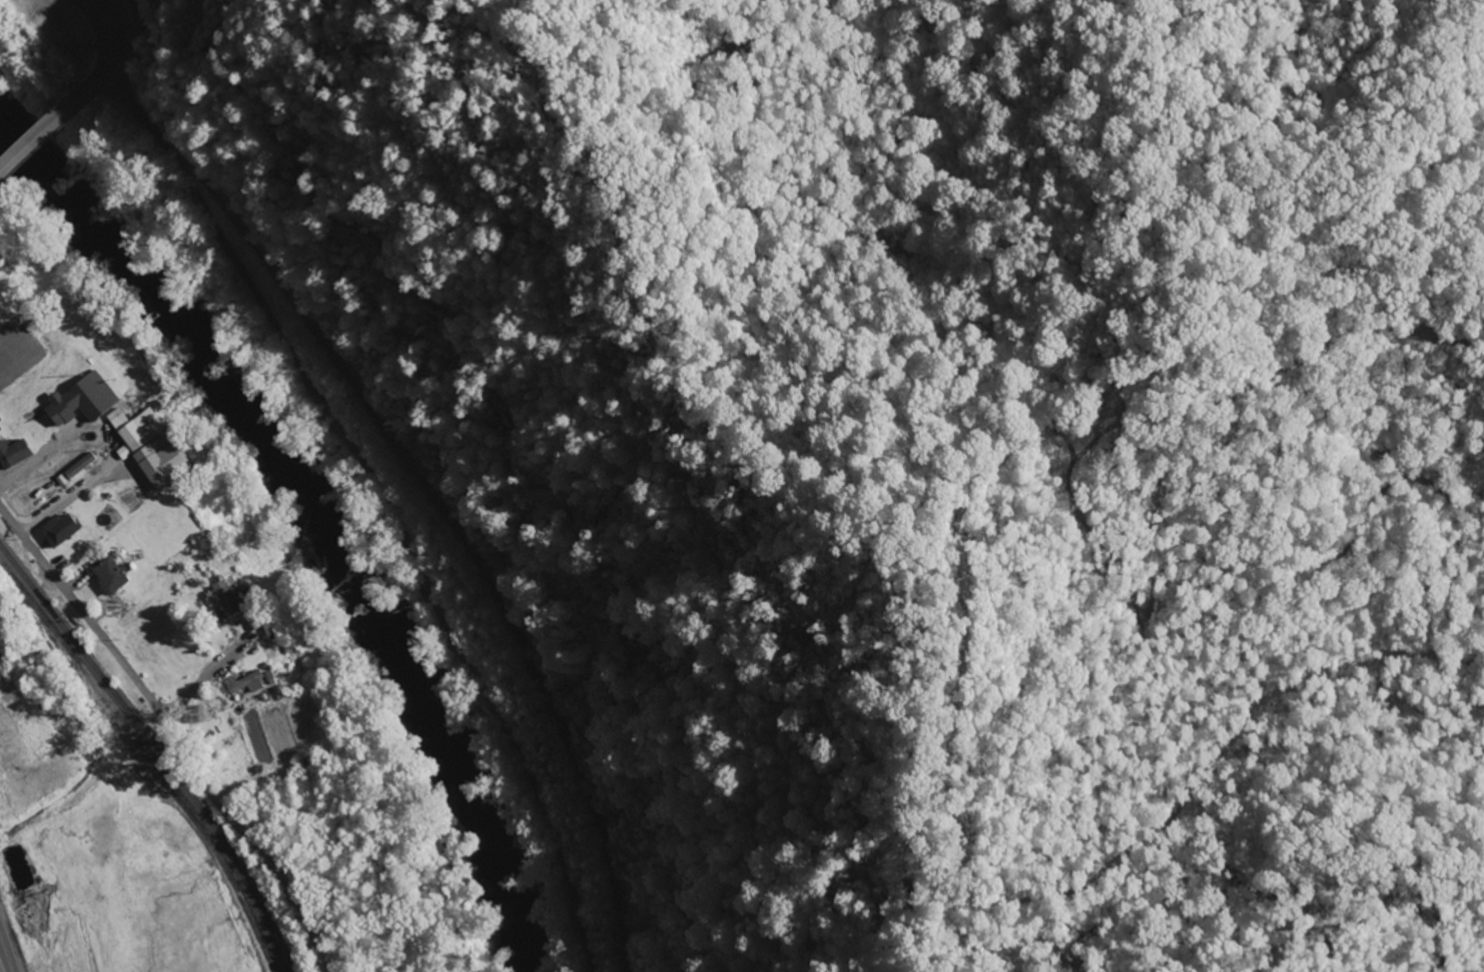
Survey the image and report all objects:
road: (110, 42)
road: (47, 131)
road: (386, 501)
river: (319, 520)
road: (84, 617)
railway: (157, 750)
road: (6, 952)

